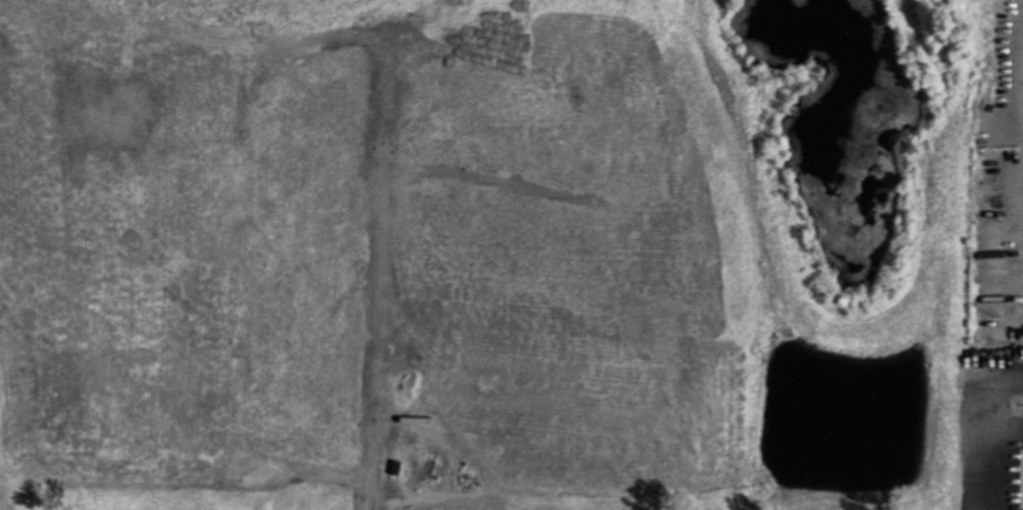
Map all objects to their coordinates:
road: (377, 342)
road: (974, 452)

